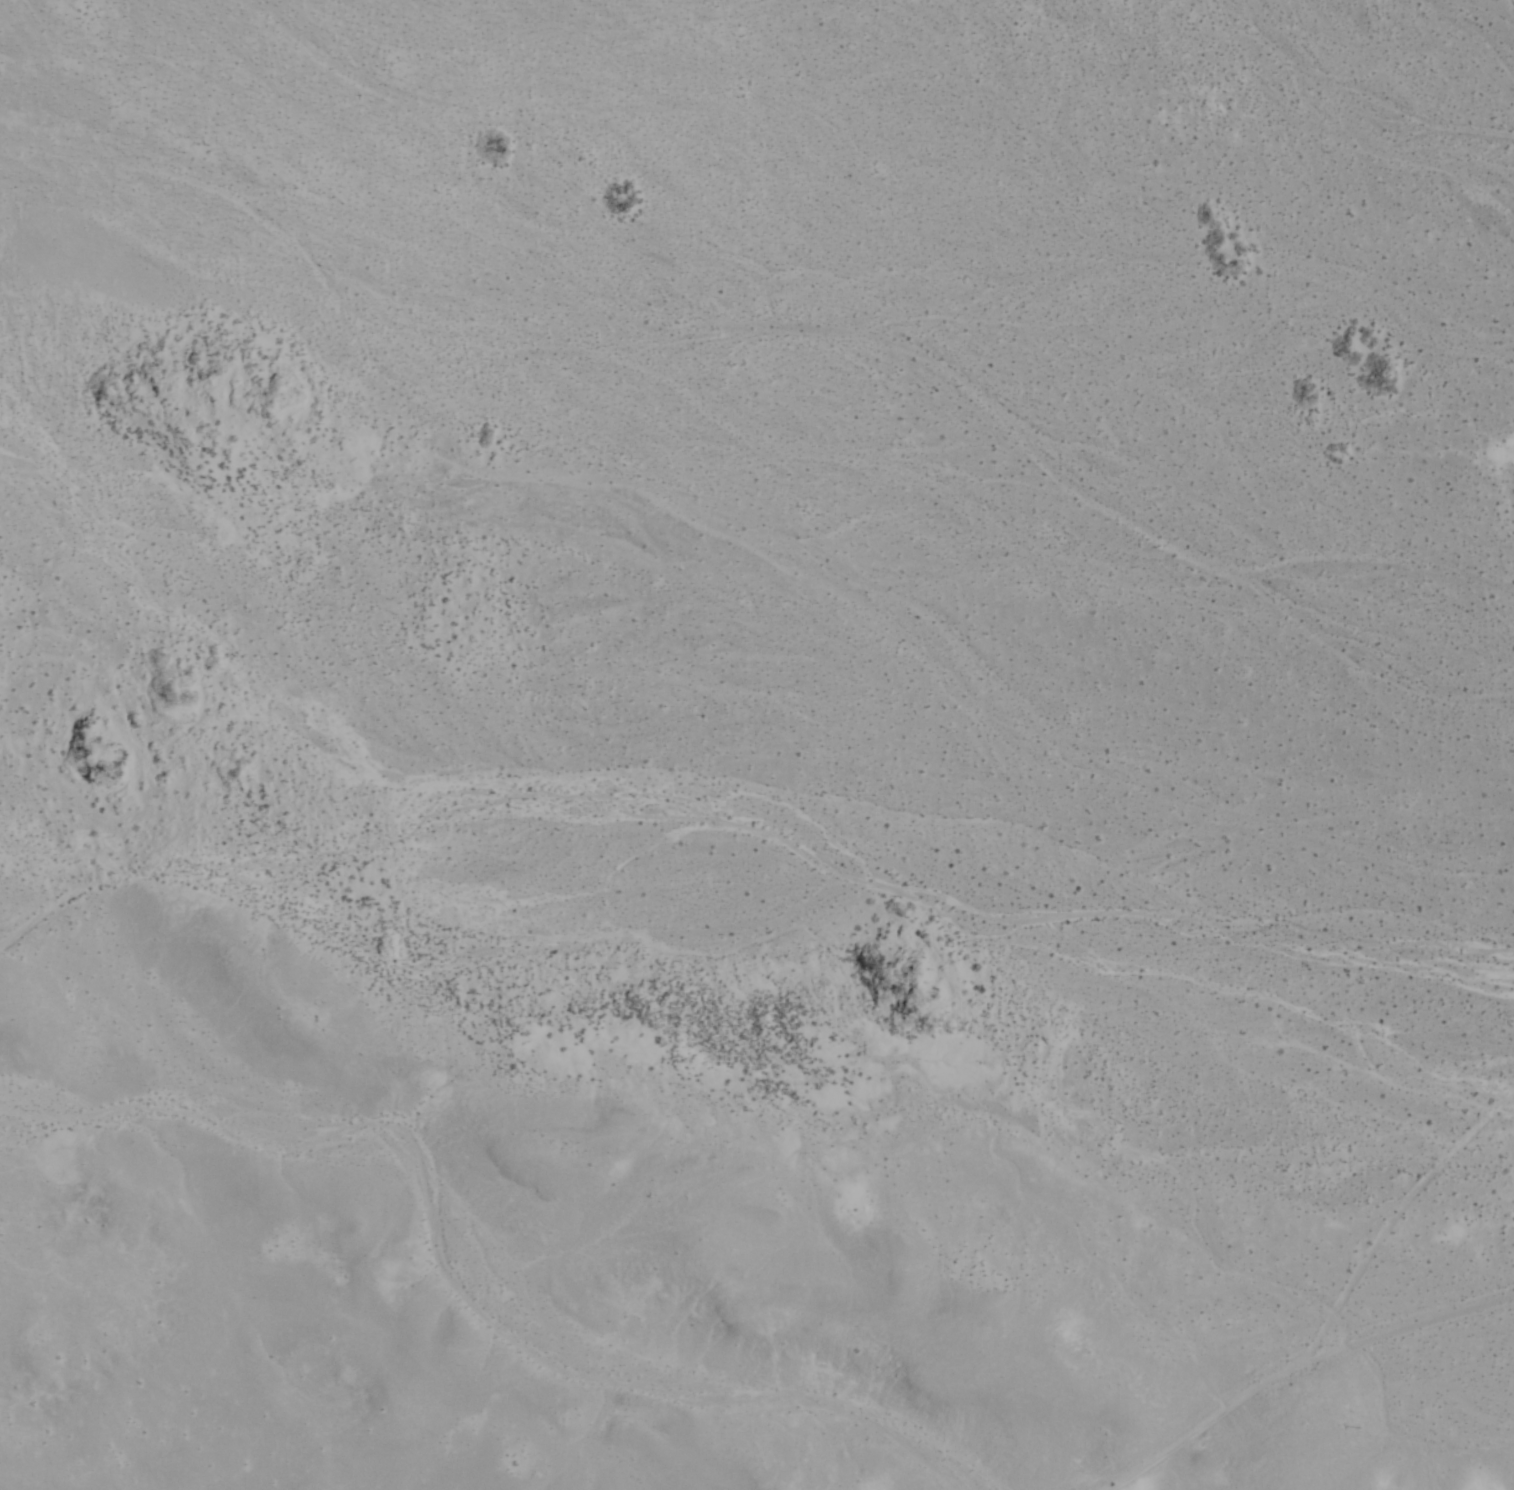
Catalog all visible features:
road: (1294, 1362)

